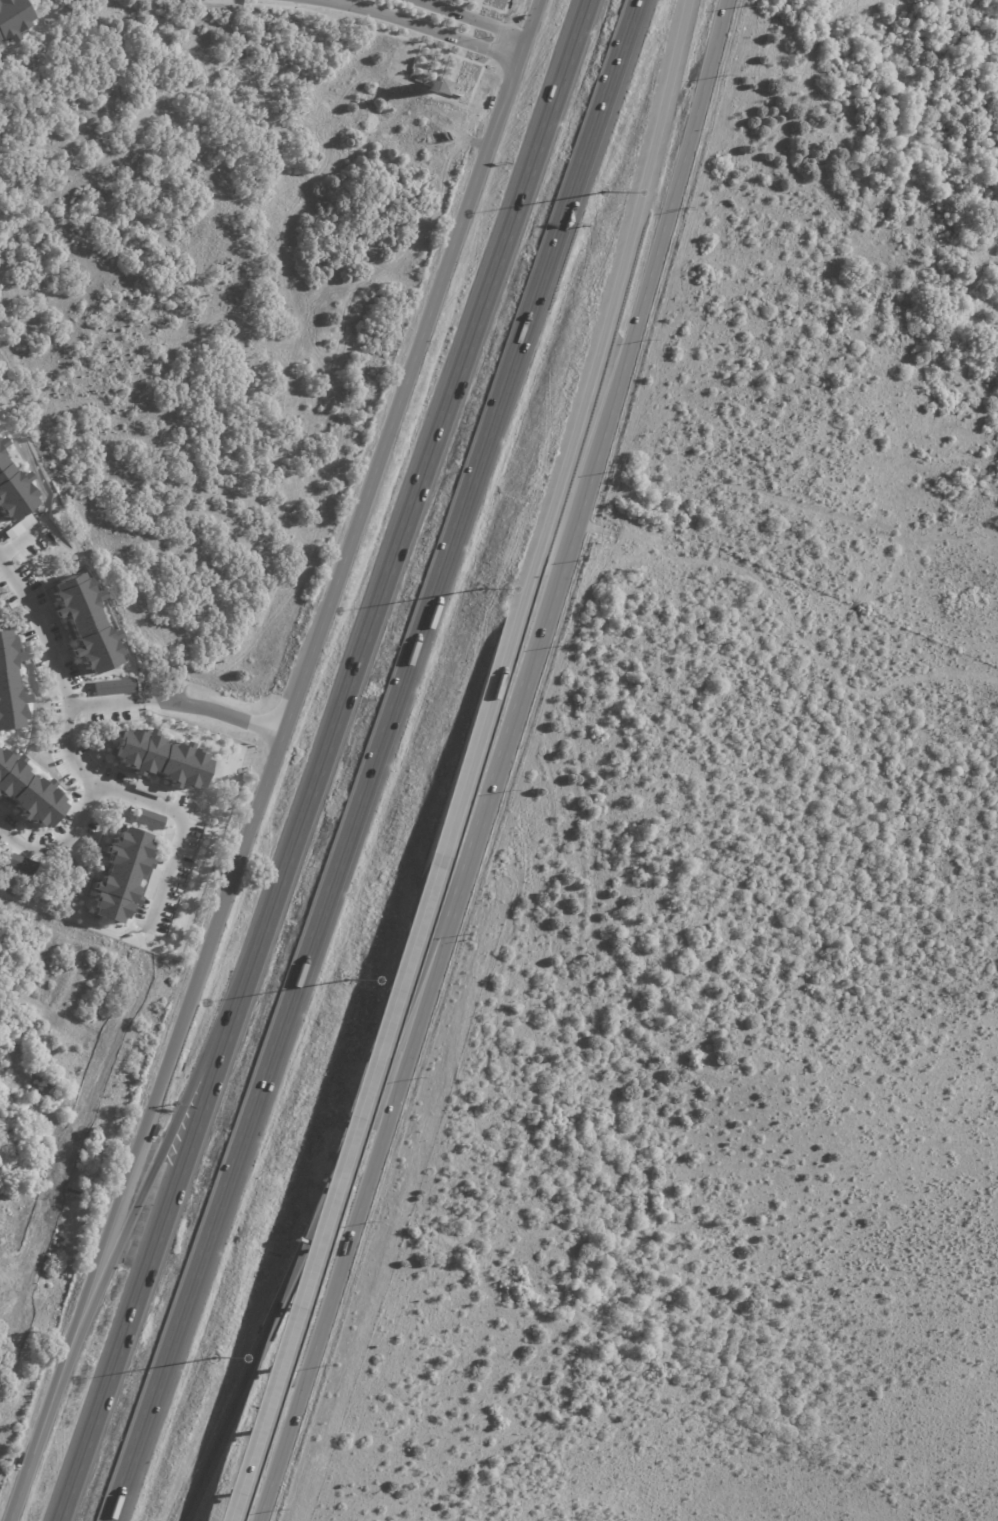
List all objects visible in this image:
building: (159, 0)
road: (477, 15)
building: (12, 19)
road: (421, 26)
building: (201, 28)
road: (660, 101)
building: (14, 485)
road: (414, 490)
building: (86, 621)
building: (11, 685)
building: (111, 686)
road: (108, 705)
road: (211, 712)
road: (75, 722)
building: (162, 757)
road: (268, 760)
road: (369, 760)
road: (497, 766)
building: (28, 790)
road: (171, 807)
building: (147, 818)
building: (15, 860)
road: (440, 864)
building: (122, 873)
road: (343, 1149)
road: (113, 1245)
road: (148, 1250)

